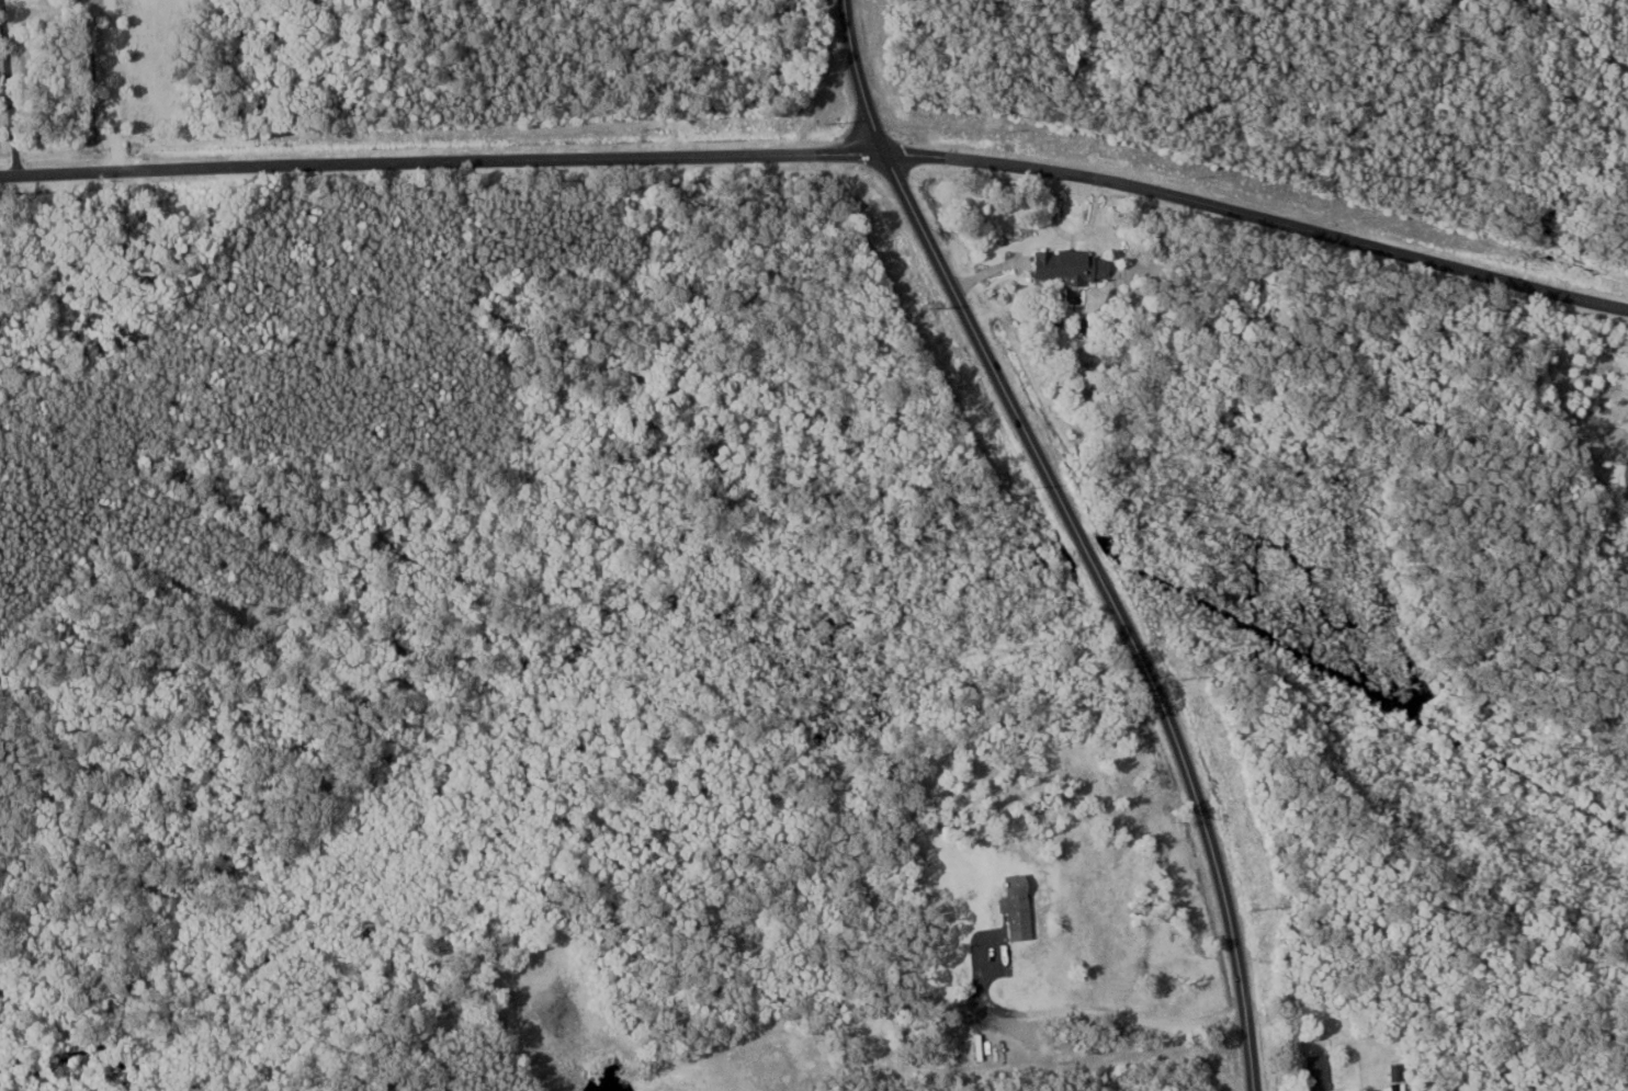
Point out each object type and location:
road: (113, 86)
road: (10, 88)
road: (823, 155)
building: (1075, 264)
road: (1078, 535)
building: (1025, 906)
road: (1089, 1008)
building: (1401, 1069)
building: (1323, 1070)

